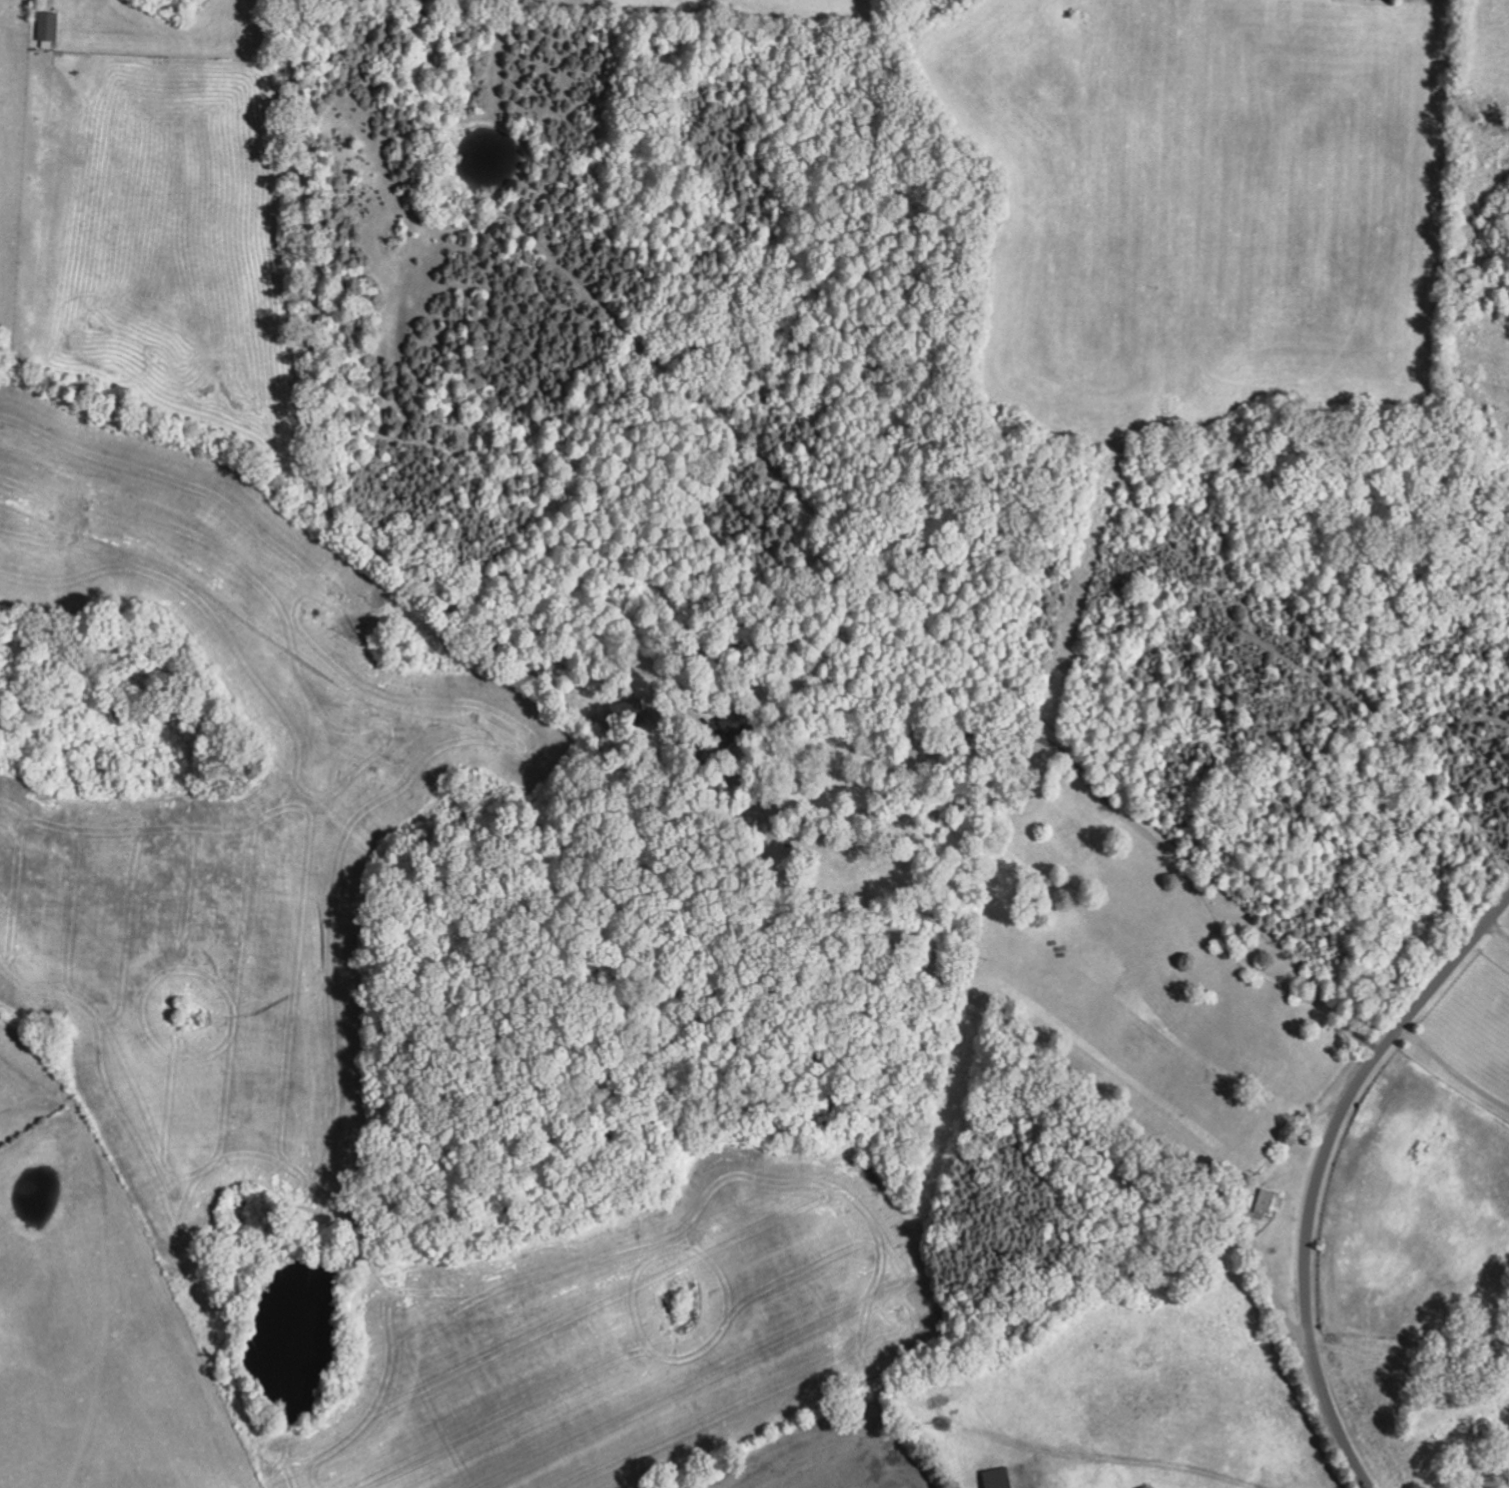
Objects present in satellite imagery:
building: (48, 25)
building: (628, 713)
building: (734, 726)
road: (1496, 937)
road: (1449, 1078)
road: (1321, 1170)
building: (1269, 1202)
building: (998, 1478)

